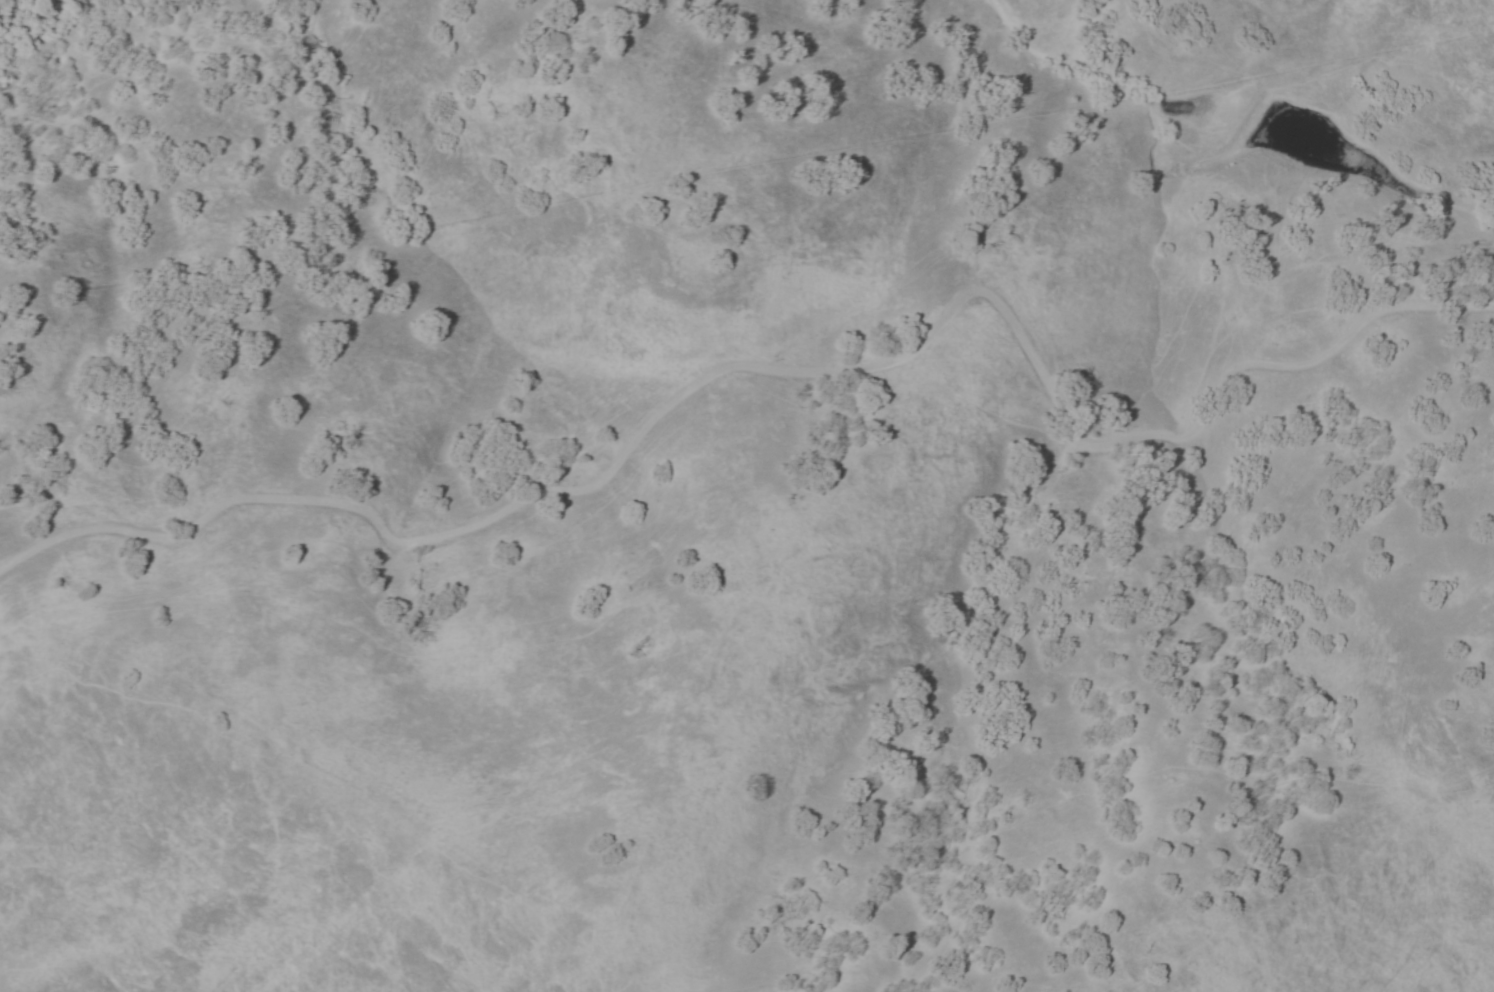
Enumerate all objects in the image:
road: (1292, 367)
road: (604, 475)

